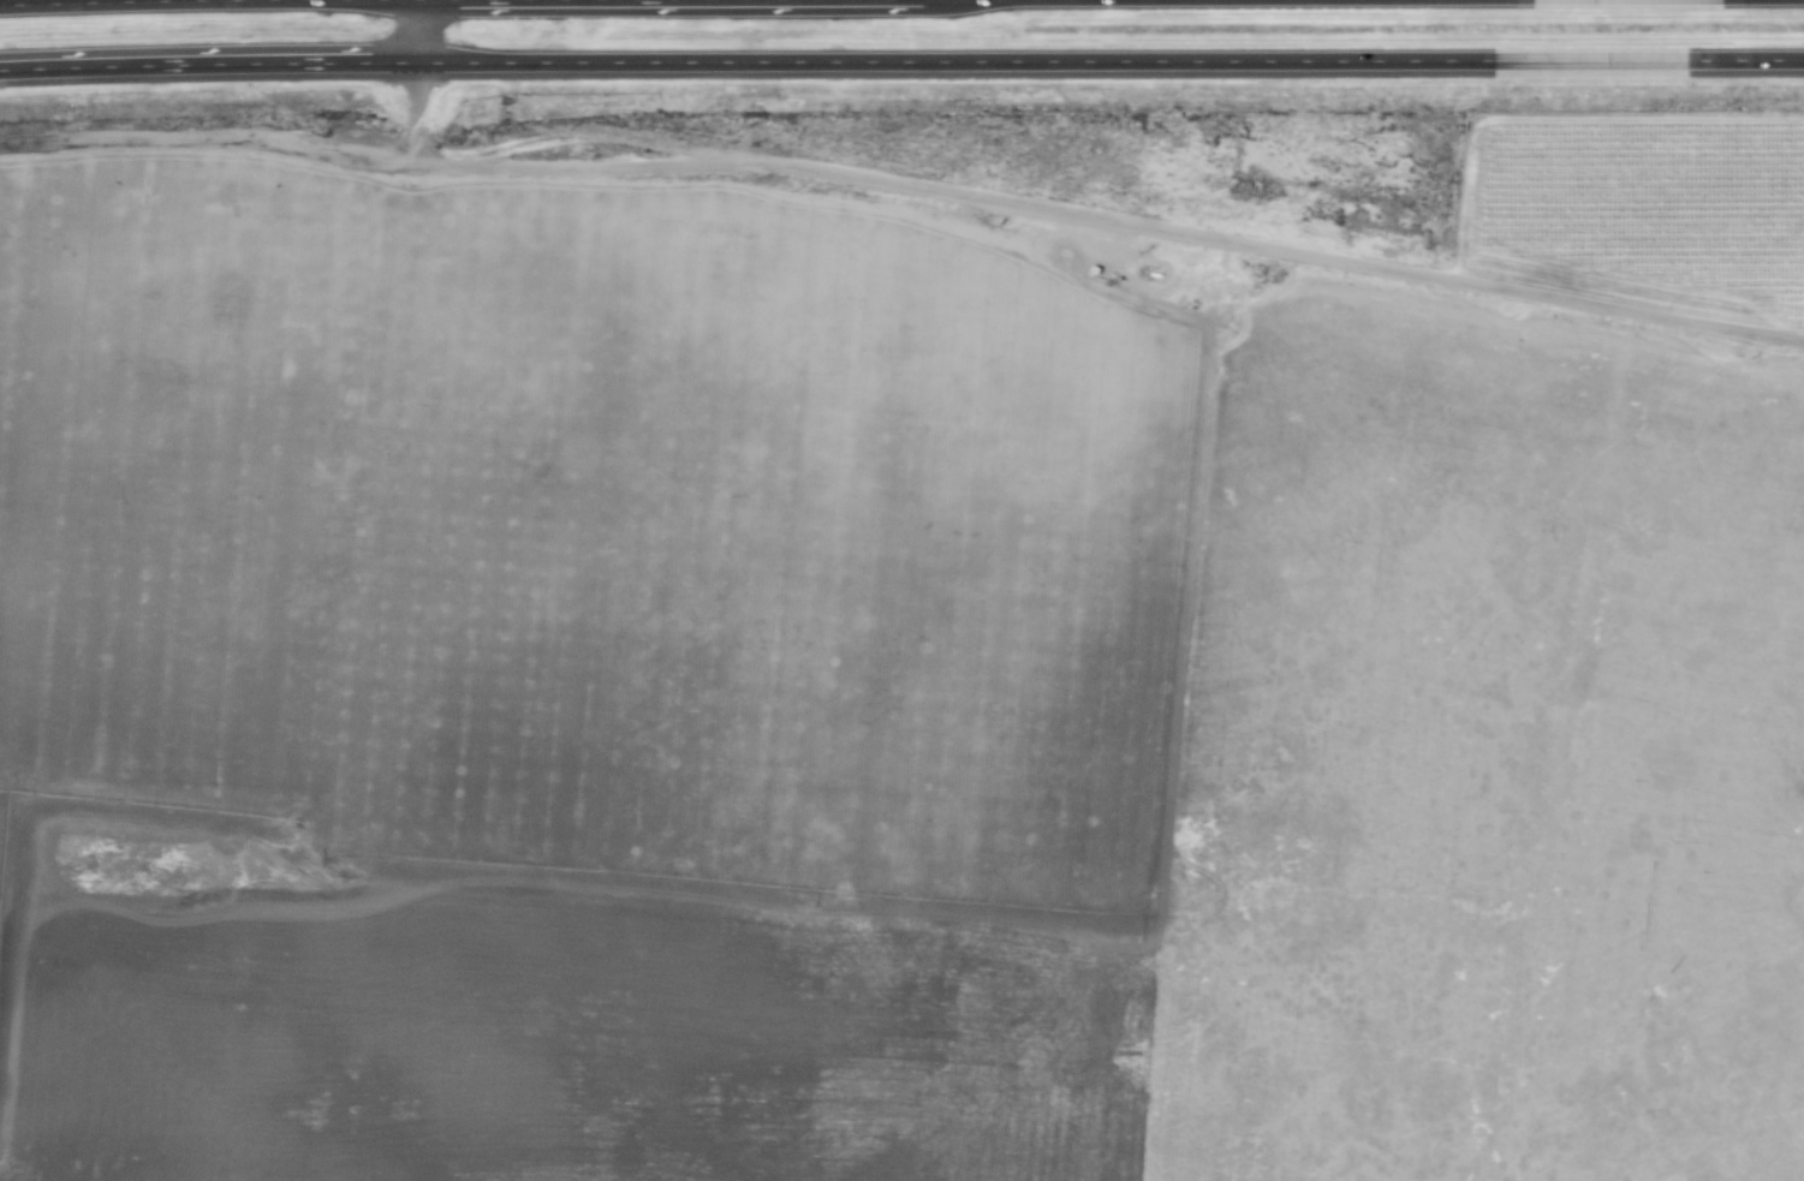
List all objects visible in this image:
road: (208, 0)
road: (419, 28)
road: (901, 59)
road: (413, 101)
road: (906, 183)
crop: (864, 711)

